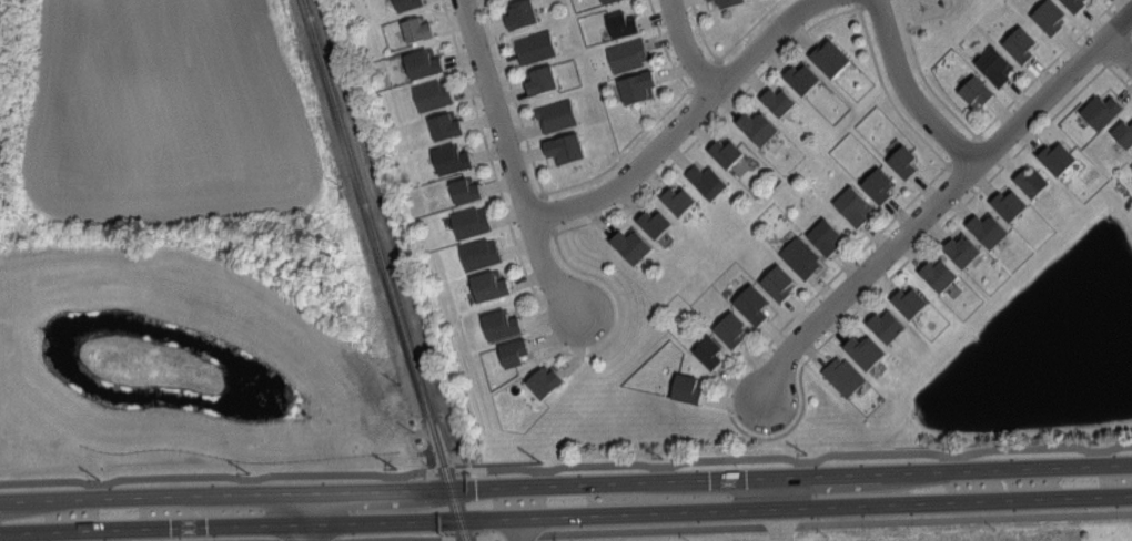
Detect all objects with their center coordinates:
building: (604, 0)
building: (710, 0)
building: (608, 1)
building: (729, 2)
building: (410, 3)
building: (1075, 4)
building: (523, 13)
building: (1051, 16)
road: (904, 20)
building: (624, 24)
park: (934, 27)
building: (418, 29)
road: (664, 43)
building: (1021, 43)
building: (536, 47)
road: (686, 48)
road: (1118, 50)
road: (727, 51)
building: (628, 54)
building: (830, 57)
building: (424, 62)
building: (995, 65)
road: (1044, 68)
road: (1118, 74)
building: (802, 78)
building: (543, 79)
building: (638, 86)
road: (932, 91)
building: (977, 91)
road: (887, 92)
road: (907, 93)
building: (433, 94)
road: (513, 98)
building: (779, 101)
building: (1102, 111)
building: (557, 114)
road: (679, 124)
road: (710, 124)
building: (446, 125)
building: (758, 126)
road: (1038, 131)
building: (1124, 134)
building: (566, 147)
building: (727, 152)
road: (624, 153)
building: (1058, 157)
building: (452, 159)
road: (509, 161)
building: (904, 161)
building: (1131, 165)
building: (707, 180)
building: (1032, 182)
building: (879, 185)
building: (466, 190)
road: (940, 197)
building: (679, 200)
building: (1010, 204)
building: (855, 205)
building: (471, 222)
building: (655, 222)
building: (989, 228)
building: (827, 236)
building: (633, 244)
building: (963, 248)
building: (481, 253)
building: (801, 256)
railway: (388, 270)
road: (526, 272)
building: (940, 273)
building: (779, 283)
building: (491, 285)
building: (911, 302)
building: (754, 304)
road: (872, 308)
road: (877, 308)
building: (502, 324)
building: (888, 326)
building: (731, 328)
park: (192, 348)
building: (515, 351)
building: (710, 351)
building: (866, 351)
building: (843, 375)
building: (546, 380)
building: (688, 388)
road: (741, 429)
road: (565, 463)
road: (566, 478)
road: (305, 514)
road: (566, 514)
road: (718, 527)

